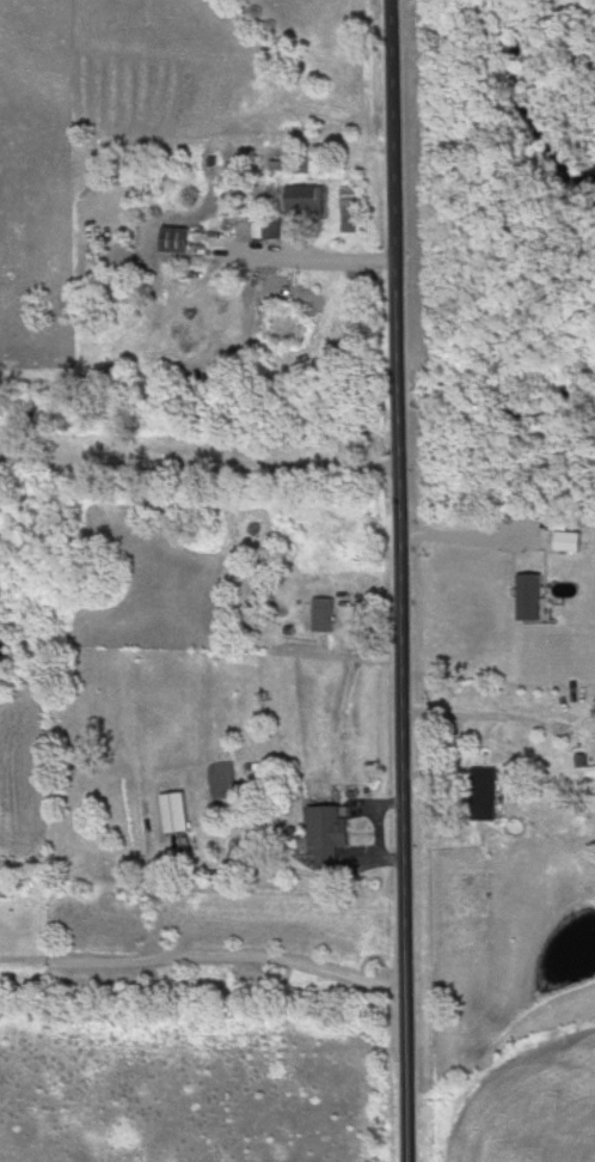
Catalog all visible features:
building: (303, 201)
building: (172, 239)
road: (317, 261)
road: (200, 464)
road: (461, 533)
road: (400, 580)
building: (321, 614)
building: (480, 795)
building: (170, 813)
road: (378, 820)
building: (323, 829)
road: (286, 869)
road: (204, 956)

